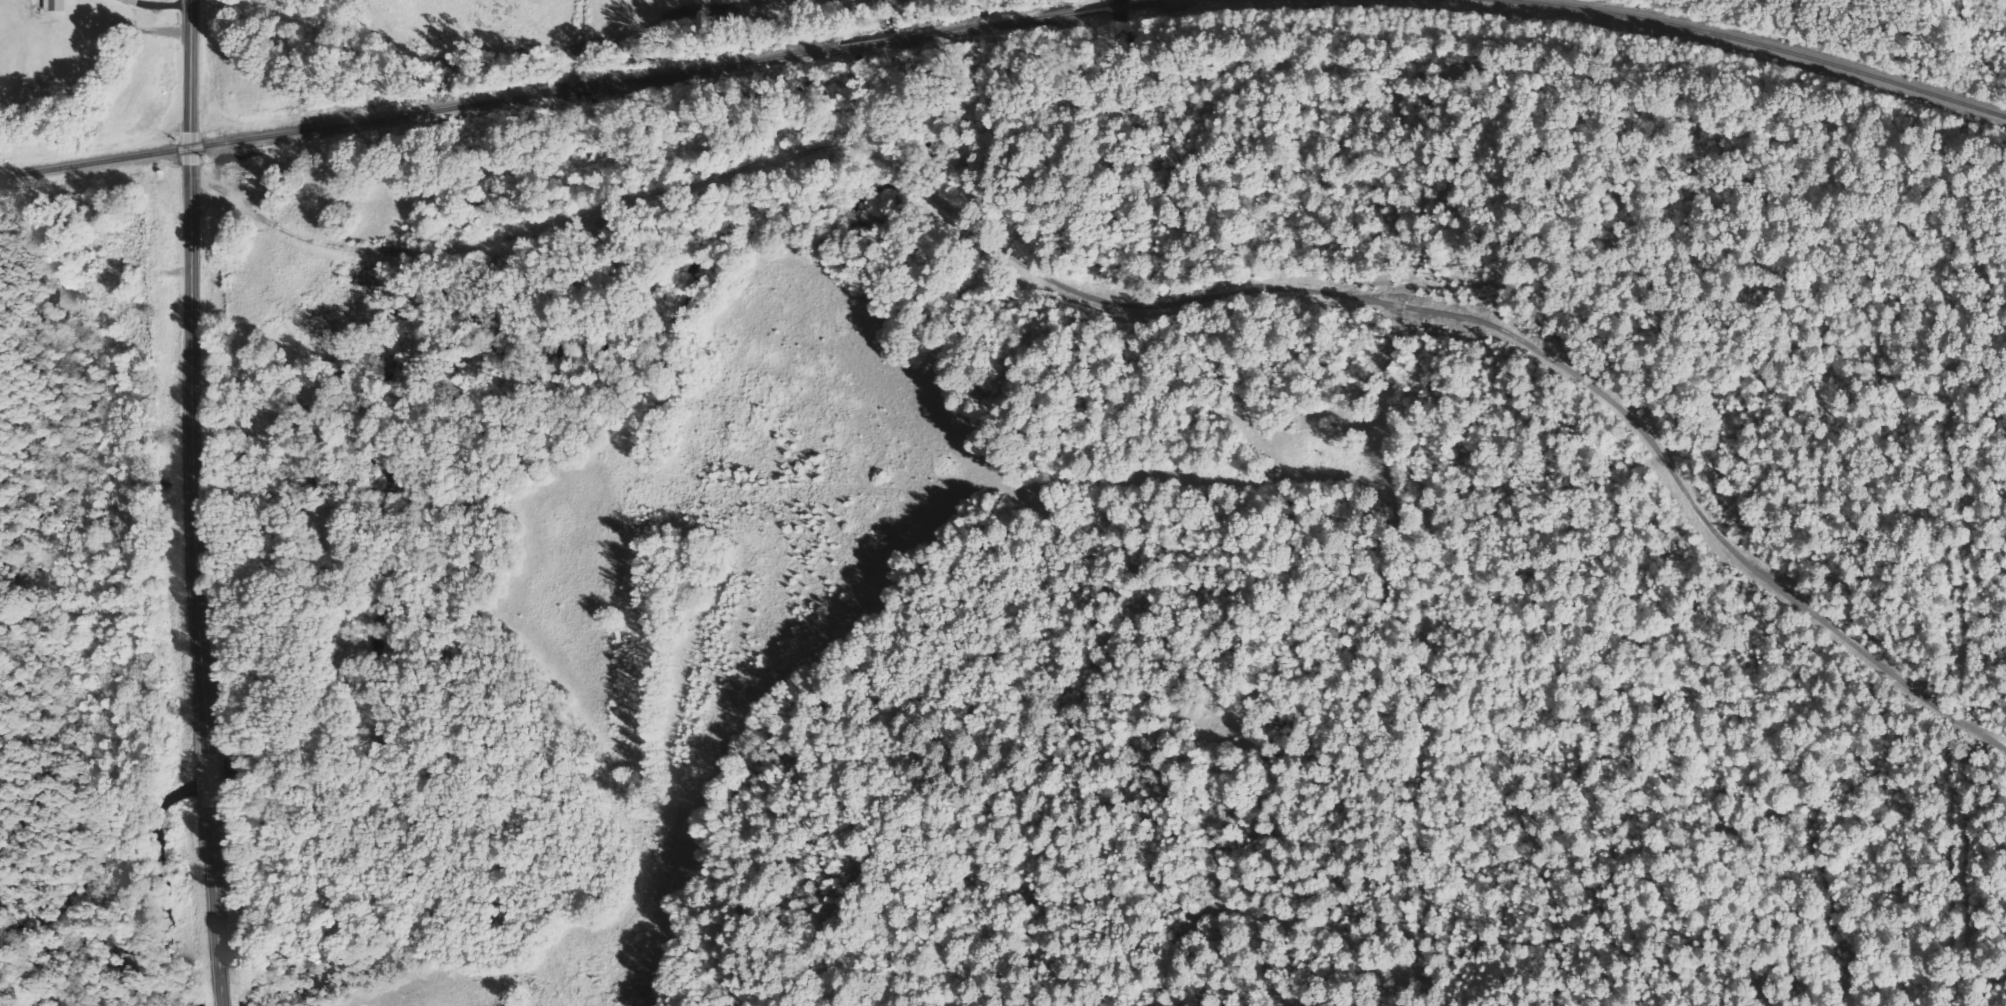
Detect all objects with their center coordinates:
railway: (1181, 2)
building: (57, 5)
road: (159, 5)
railway: (1113, 8)
railway: (1749, 44)
railway: (839, 48)
railway: (584, 86)
railway: (280, 133)
road: (194, 381)
road: (204, 786)
road: (213, 908)

